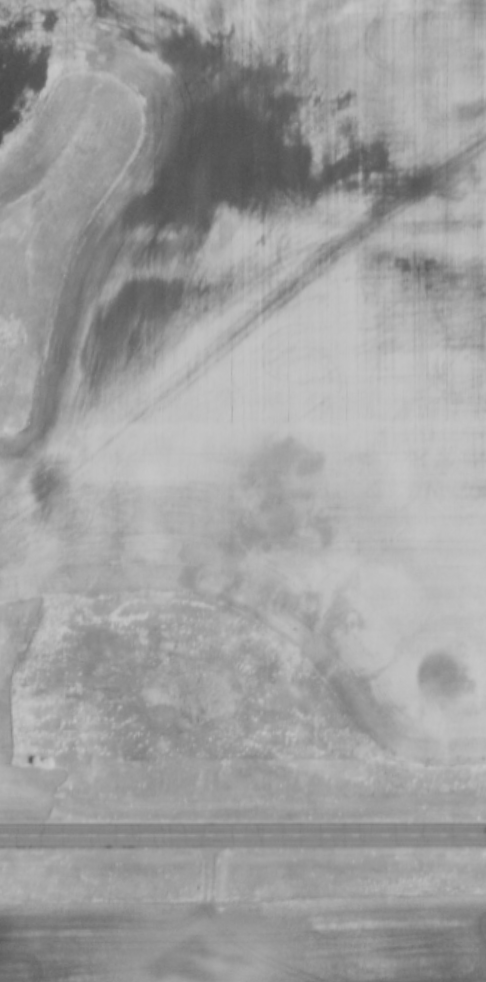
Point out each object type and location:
road: (243, 839)

